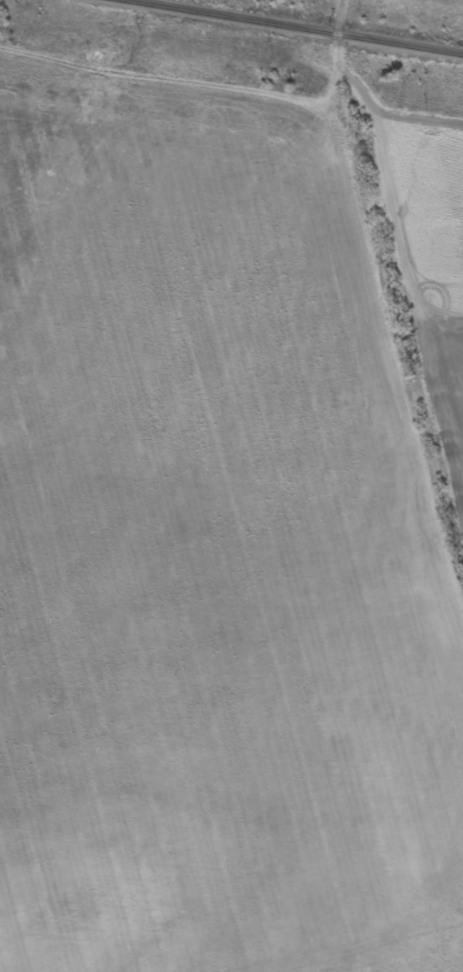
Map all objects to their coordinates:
railway: (294, 27)

